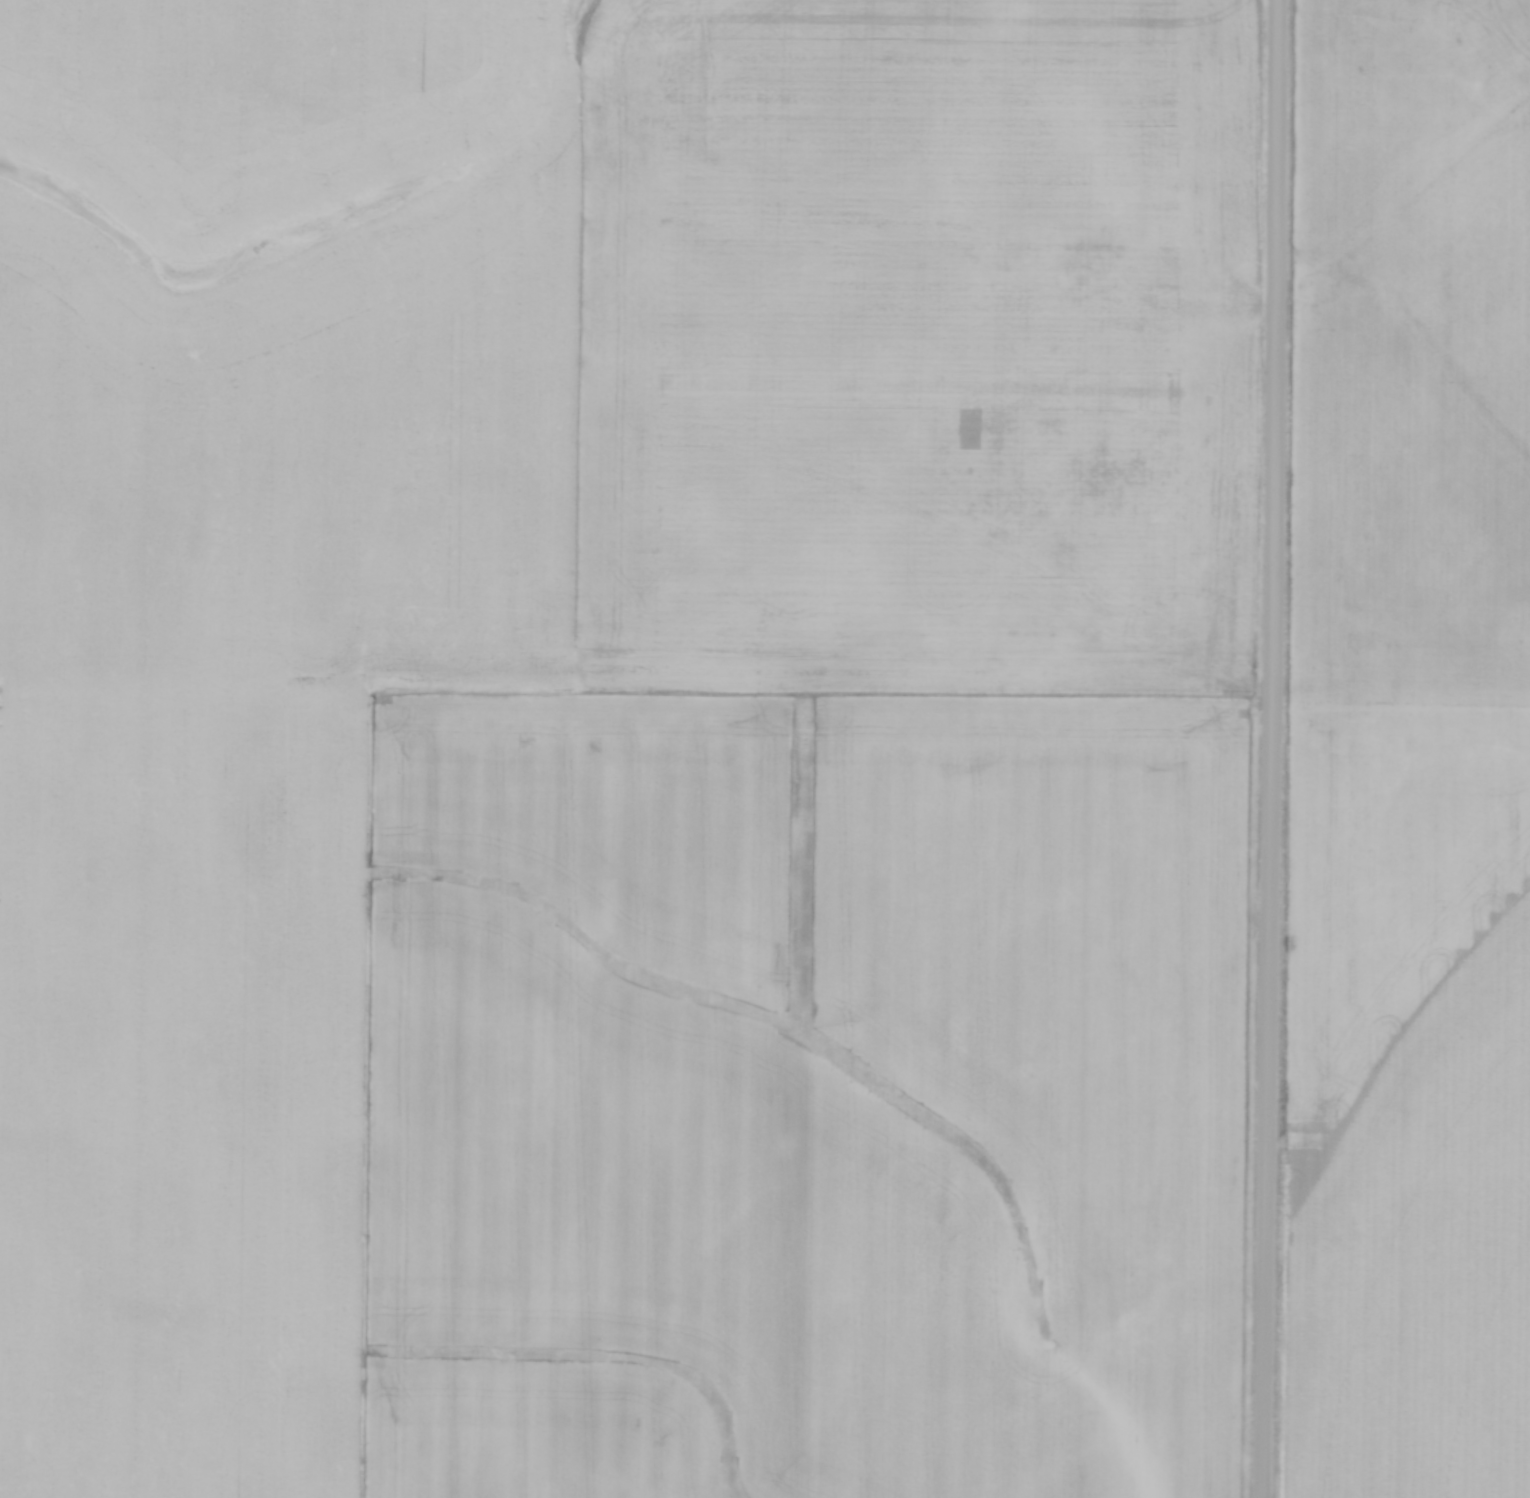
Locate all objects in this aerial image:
road: (1270, 749)

